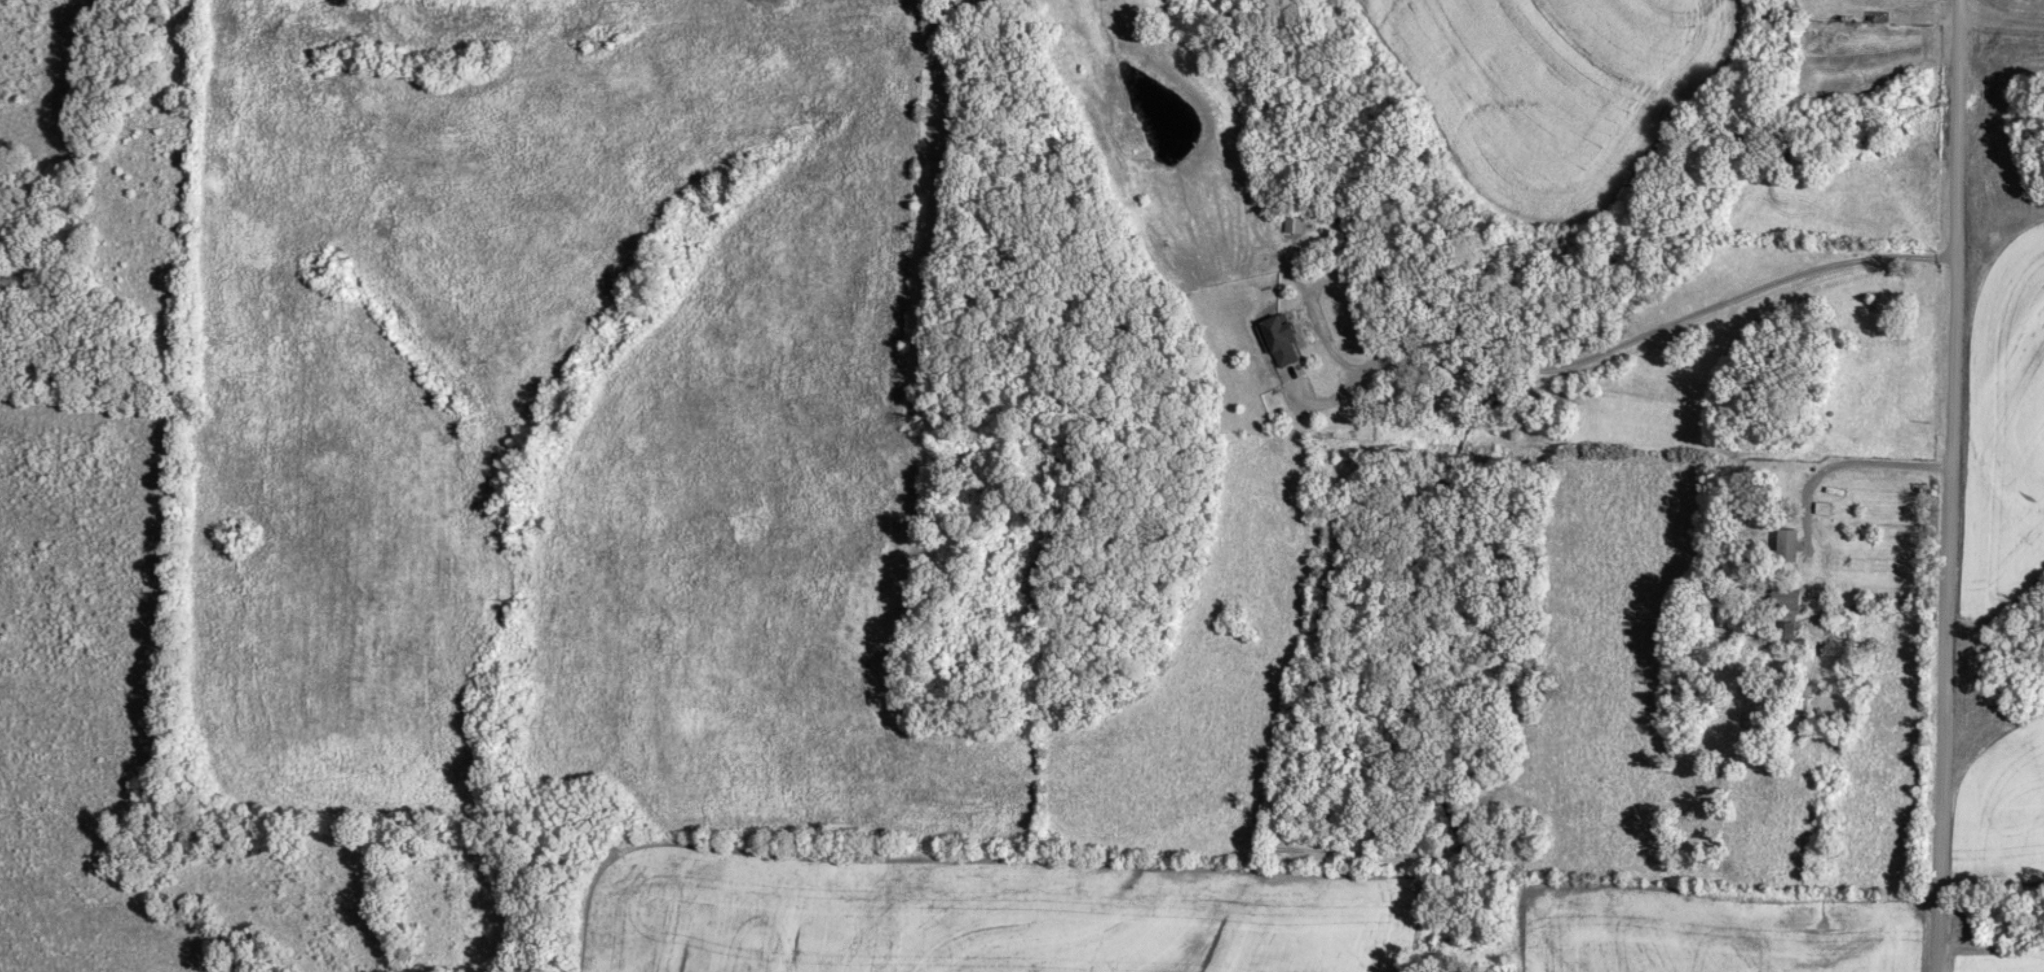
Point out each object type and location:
road: (2000, 20)
building: (1284, 342)
road: (1598, 361)
road: (1854, 463)
road: (1945, 486)
building: (1824, 509)
building: (1791, 546)
building: (1787, 600)
building: (1788, 634)

